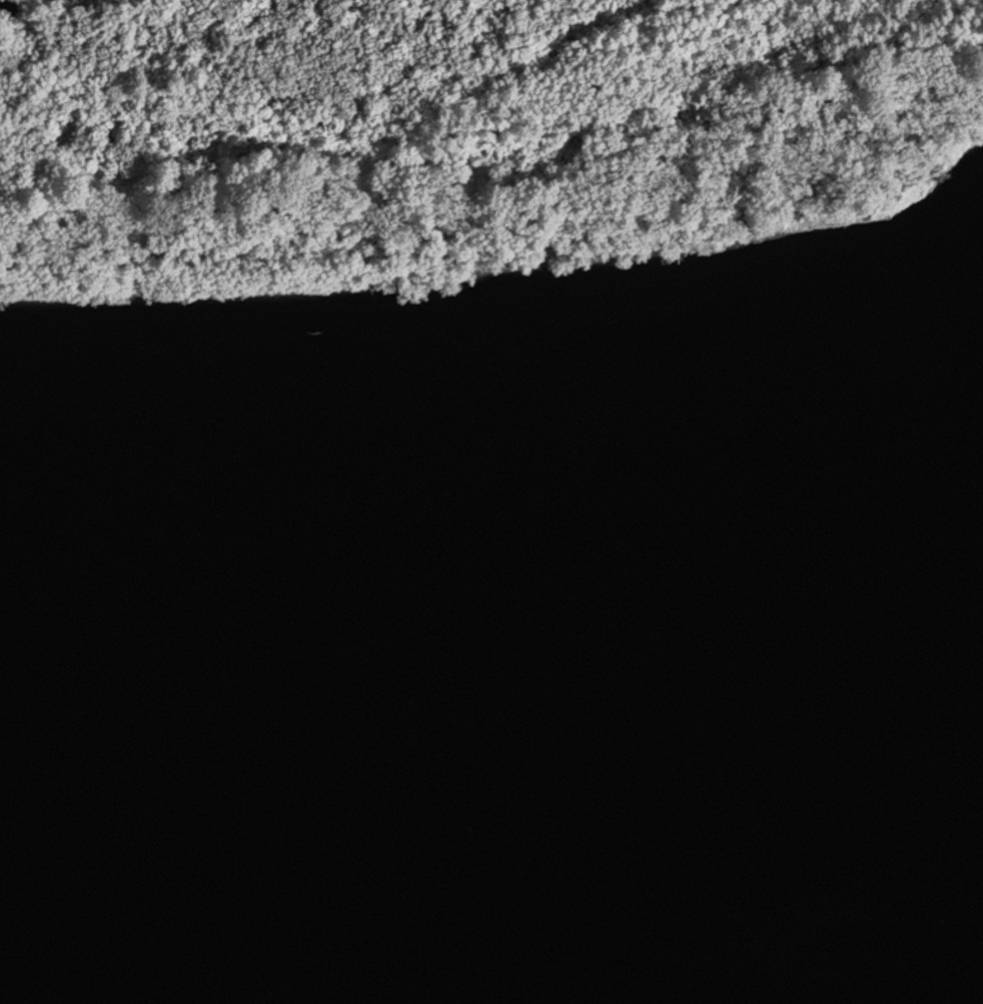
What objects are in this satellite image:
river: (657, 967)
building: (982, 1003)

